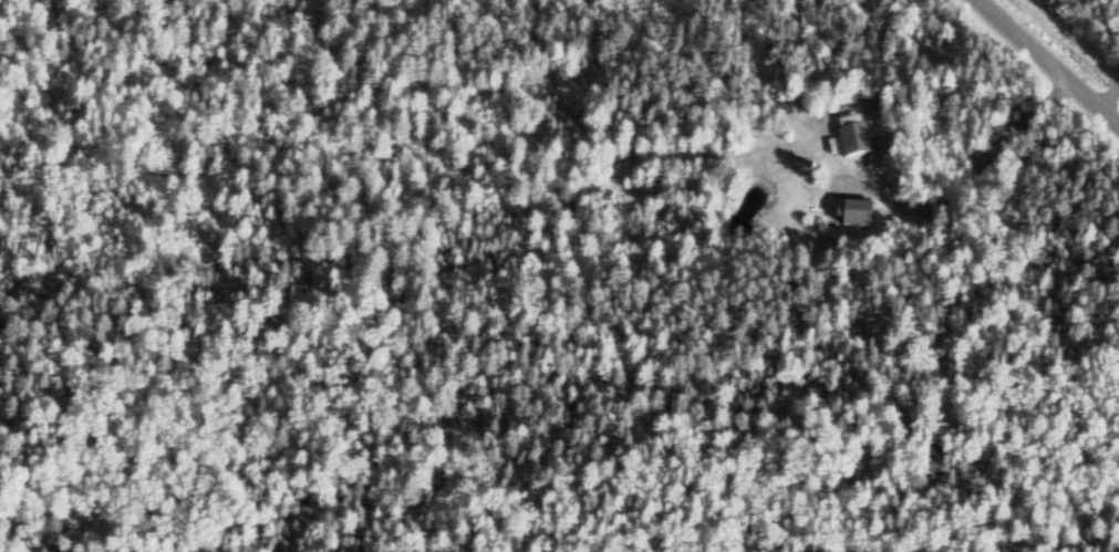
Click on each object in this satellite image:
road: (1045, 65)
building: (862, 213)

